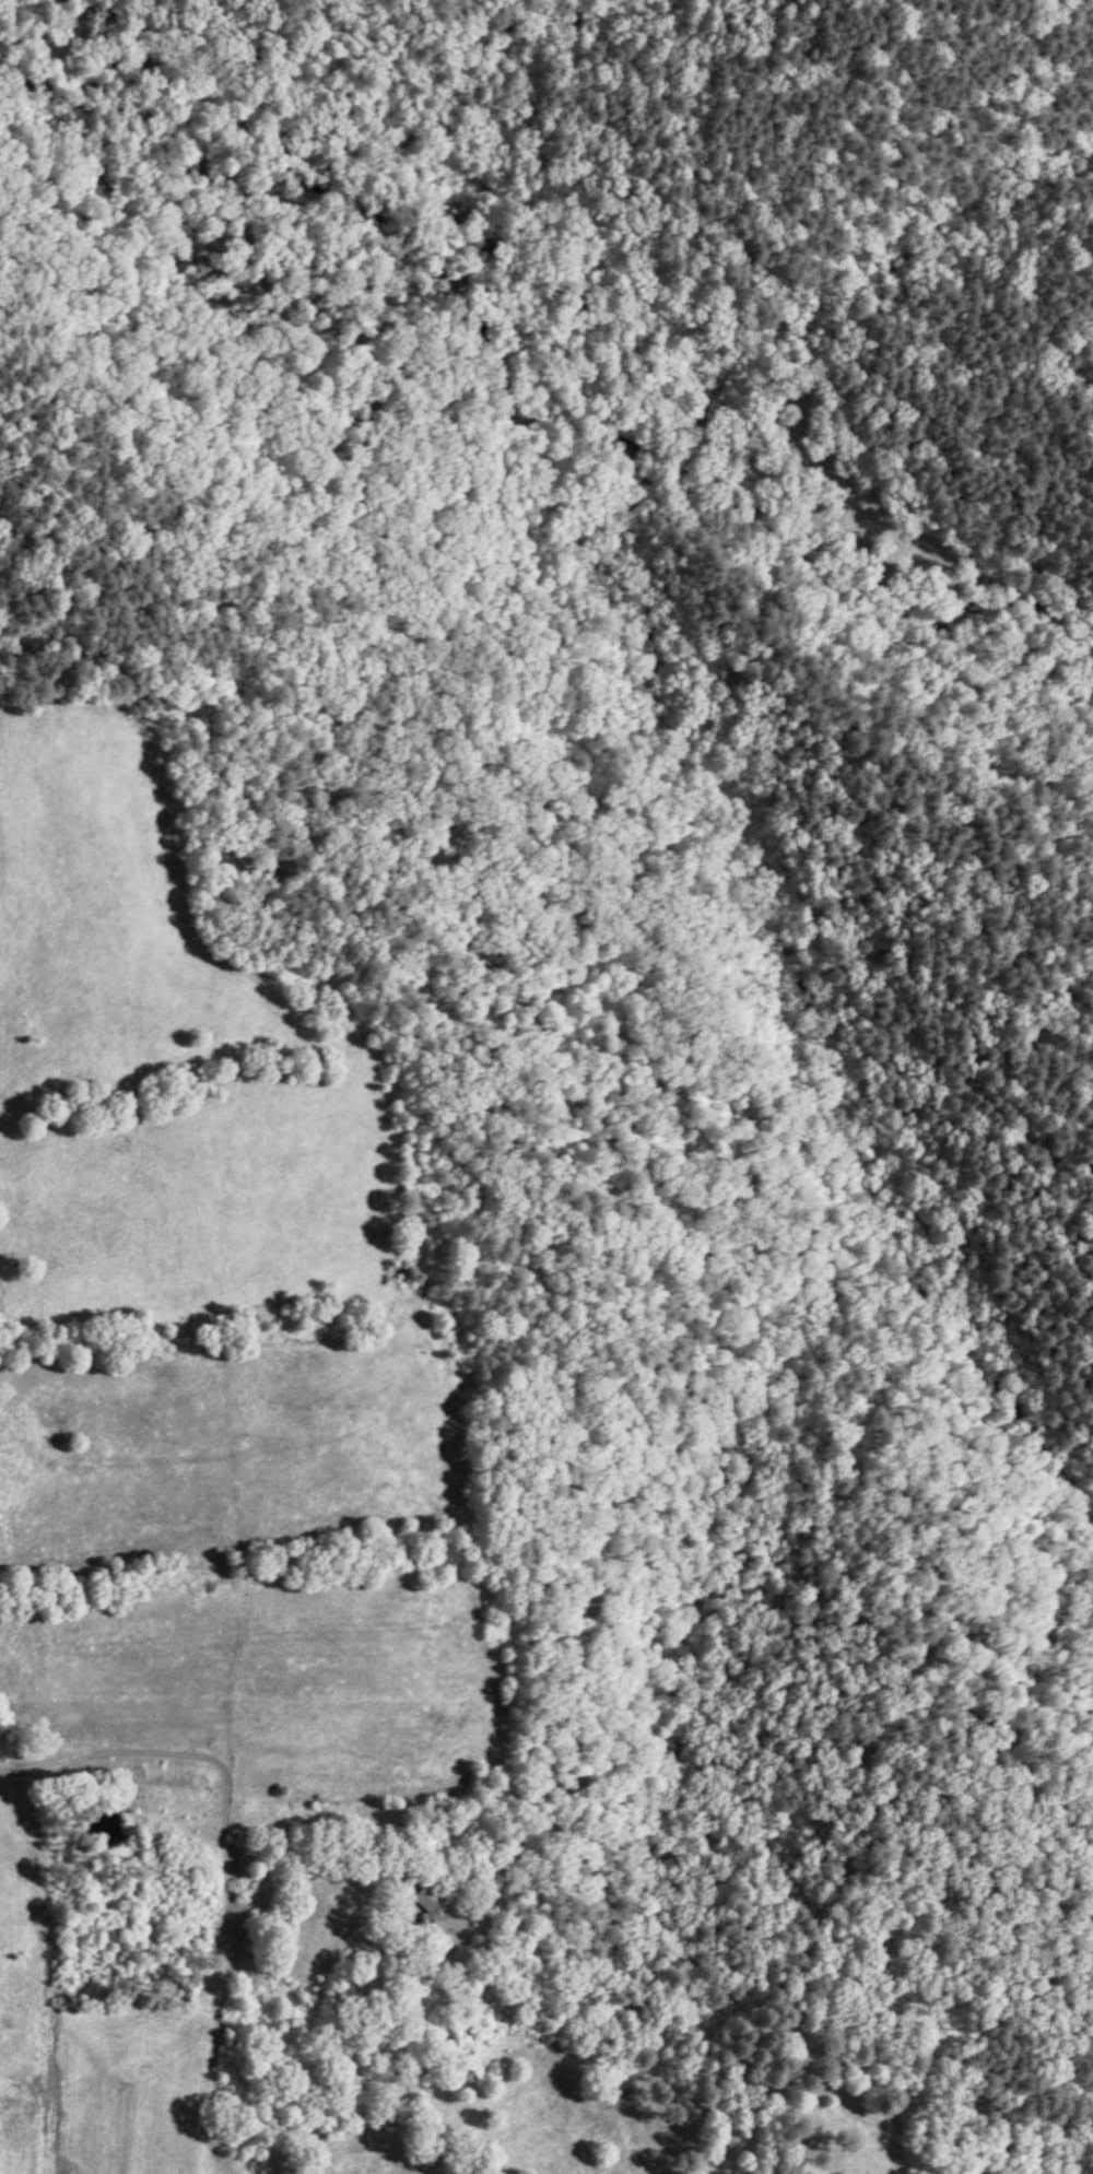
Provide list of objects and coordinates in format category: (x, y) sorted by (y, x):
road: (224, 1781)
building: (442, 1912)

